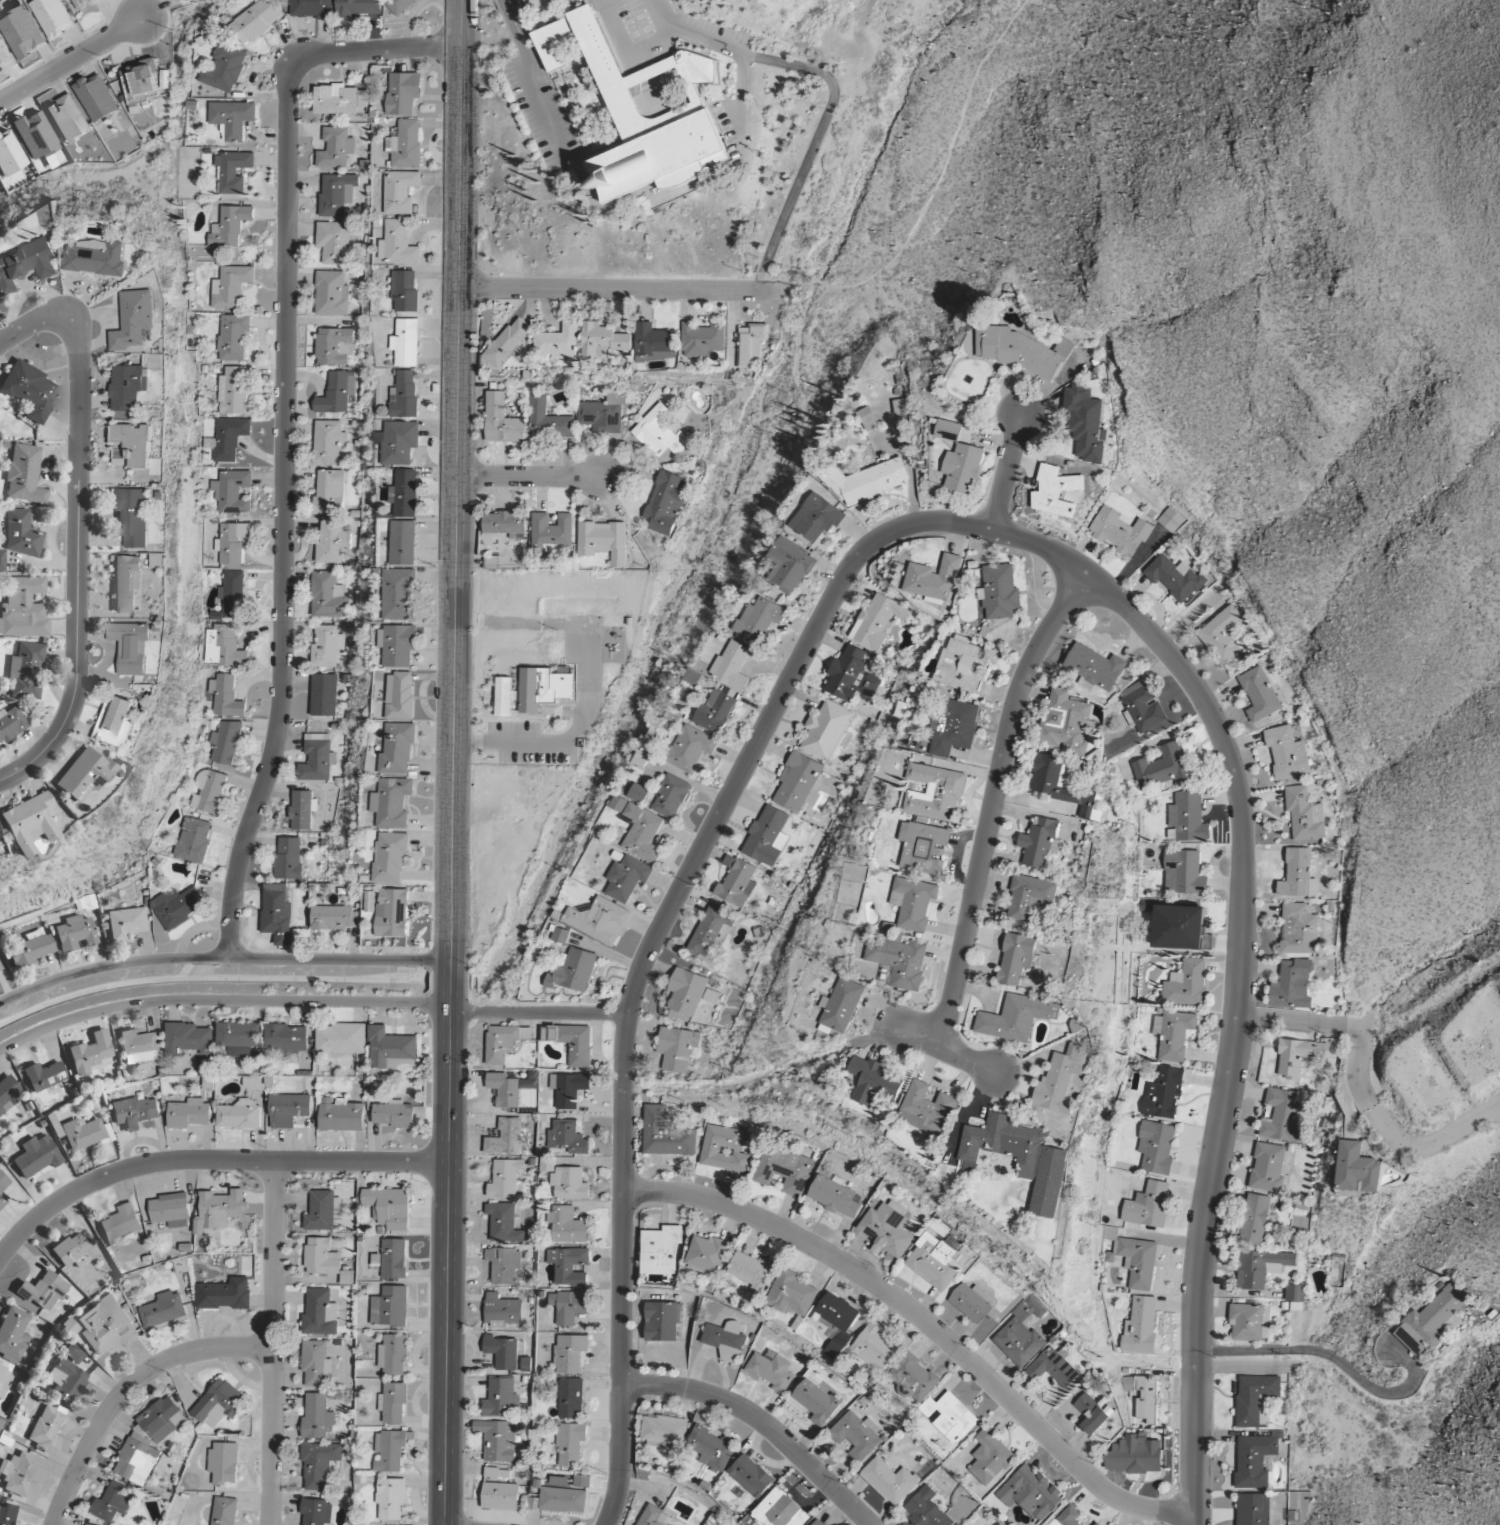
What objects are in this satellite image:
building: (187, 1)
road: (502, 2)
road: (503, 2)
building: (83, 3)
building: (400, 5)
building: (357, 8)
building: (312, 9)
building: (52, 17)
building: (256, 20)
building: (21, 33)
road: (732, 49)
building: (3, 51)
road: (625, 56)
road: (71, 60)
building: (225, 68)
building: (141, 82)
road: (531, 84)
building: (404, 93)
building: (96, 98)
building: (341, 100)
building: (623, 106)
building: (232, 118)
building: (67, 119)
building: (36, 136)
road: (817, 141)
building: (406, 144)
building: (335, 148)
building: (10, 155)
road: (944, 157)
building: (233, 171)
building: (400, 191)
building: (337, 194)
building: (230, 226)
building: (335, 243)
building: (398, 244)
building: (94, 257)
building: (26, 263)
building: (230, 286)
road: (630, 290)
road: (818, 290)
building: (405, 291)
building: (332, 294)
building: (133, 319)
road: (30, 325)
building: (233, 337)
road: (2, 339)
building: (703, 339)
building: (654, 340)
building: (560, 342)
building: (603, 342)
building: (406, 343)
building: (510, 343)
building: (751, 344)
building: (335, 346)
building: (1021, 351)
building: (128, 386)
building: (29, 390)
building: (233, 391)
building: (337, 393)
building: (405, 394)
building: (603, 413)
building: (868, 418)
building: (502, 421)
building: (547, 421)
building: (1086, 424)
road: (283, 427)
building: (953, 431)
building: (660, 433)
building: (229, 438)
building: (328, 442)
building: (399, 442)
building: (133, 445)
building: (963, 468)
road: (1007, 472)
building: (24, 474)
road: (531, 477)
road: (439, 479)
building: (864, 481)
building: (231, 491)
building: (330, 492)
building: (1055, 492)
building: (406, 493)
building: (665, 504)
road: (468, 506)
building: (131, 516)
building: (817, 518)
building: (1170, 520)
building: (503, 523)
building: (551, 530)
building: (1119, 531)
building: (20, 534)
building: (603, 541)
building: (333, 542)
building: (405, 542)
building: (231, 543)
building: (1, 560)
road: (77, 562)
building: (789, 566)
building: (1175, 578)
building: (934, 580)
building: (126, 582)
building: (999, 593)
building: (399, 594)
building: (232, 595)
building: (328, 596)
building: (23, 608)
building: (760, 619)
building: (878, 621)
building: (1221, 634)
building: (397, 645)
building: (223, 646)
building: (326, 646)
building: (129, 647)
building: (962, 665)
building: (733, 666)
building: (1095, 666)
building: (26, 671)
building: (852, 677)
building: (543, 688)
building: (1259, 694)
building: (324, 695)
building: (400, 696)
building: (226, 697)
building: (503, 697)
building: (1143, 707)
building: (715, 712)
building: (115, 722)
building: (1064, 723)
building: (11, 724)
building: (953, 727)
building: (826, 730)
building: (226, 743)
building: (690, 748)
building: (398, 749)
building: (1287, 753)
building: (316, 759)
building: (641, 759)
road: (454, 762)
building: (1164, 767)
building: (84, 775)
building: (797, 782)
building: (1064, 786)
building: (208, 791)
building: (935, 792)
building: (639, 793)
building: (670, 797)
road: (994, 801)
building: (395, 803)
building: (303, 810)
building: (1304, 814)
building: (1186, 818)
building: (28, 823)
building: (639, 829)
building: (767, 837)
building: (194, 840)
building: (1040, 843)
building: (923, 847)
building: (393, 857)
building: (289, 858)
building: (1183, 873)
building: (1298, 875)
building: (627, 878)
building: (737, 882)
building: (1029, 898)
building: (913, 903)
building: (178, 906)
building: (394, 913)
building: (278, 914)
building: (335, 917)
building: (599, 920)
building: (127, 923)
building: (1179, 927)
building: (1299, 929)
building: (710, 933)
building: (75, 934)
building: (560, 935)
road: (649, 944)
building: (31, 950)
road: (222, 958)
building: (1016, 958)
building: (899, 960)
building: (0, 968)
building: (574, 971)
road: (1238, 972)
building: (1187, 984)
building: (1292, 985)
building: (687, 992)
building: (711, 996)
road: (221, 999)
building: (840, 1006)
road: (539, 1013)
building: (1016, 1018)
road: (1340, 1026)
building: (1173, 1035)
building: (239, 1038)
building: (287, 1038)
building: (342, 1038)
building: (188, 1039)
building: (572, 1042)
building: (502, 1043)
building: (139, 1047)
building: (390, 1048)
building: (677, 1048)
road: (946, 1048)
building: (91, 1054)
building: (1298, 1056)
building: (43, 1076)
building: (1059, 1080)
building: (876, 1082)
building: (258, 1083)
building: (568, 1088)
building: (504, 1089)
building: (7, 1093)
building: (1162, 1093)
building: (926, 1108)
building: (288, 1109)
building: (134, 1113)
building: (189, 1114)
building: (393, 1114)
building: (240, 1115)
building: (341, 1115)
building: (1283, 1117)
building: (85, 1133)
building: (666, 1134)
building: (568, 1137)
building: (506, 1138)
road: (1430, 1145)
building: (1156, 1146)
building: (723, 1149)
building: (36, 1156)
building: (1020, 1158)
road: (209, 1161)
building: (1268, 1167)
building: (1356, 1169)
building: (783, 1170)
building: (505, 1179)
building: (3, 1182)
building: (569, 1183)
building: (835, 1196)
building: (2, 1202)
building: (1148, 1205)
building: (389, 1207)
building: (171, 1210)
building: (220, 1210)
building: (323, 1211)
building: (1254, 1219)
building: (503, 1223)
building: (120, 1224)
building: (568, 1225)
building: (886, 1229)
road: (432, 1241)
building: (74, 1249)
building: (661, 1251)
building: (706, 1254)
building: (321, 1257)
building: (394, 1258)
building: (933, 1261)
building: (1138, 1261)
building: (568, 1263)
building: (504, 1264)
building: (1261, 1267)
road: (460, 1269)
building: (752, 1270)
building: (43, 1291)
building: (1295, 1293)
building: (225, 1294)
building: (792, 1294)
building: (972, 1303)
building: (569, 1306)
building: (390, 1307)
building: (163, 1310)
building: (320, 1313)
building: (1430, 1320)
building: (662, 1322)
building: (837, 1322)
building: (1248, 1322)
road: (927, 1323)
building: (1140, 1326)
building: (107, 1327)
building: (1021, 1333)
building: (13, 1334)
building: (725, 1340)
road: (273, 1343)
building: (875, 1347)
building: (502, 1352)
building: (73, 1353)
building: (394, 1354)
road: (1338, 1359)
building: (317, 1363)
road: (1247, 1366)
building: (1054, 1367)
building: (771, 1370)
building: (914, 1377)
building: (4, 1380)
building: (66, 1382)
road: (127, 1389)
building: (1143, 1397)
building: (571, 1398)
building: (501, 1399)
building: (1256, 1399)
building: (817, 1401)
building: (220, 1402)
building: (393, 1403)
building: (1091, 1414)
building: (317, 1416)
building: (950, 1417)
building: (161, 1419)
road: (760, 1422)
building: (46, 1427)
building: (664, 1432)
building: (857, 1435)
building: (498, 1440)
building: (570, 1443)
building: (710, 1447)
building: (390, 1450)
building: (1135, 1455)
building: (990, 1457)
building: (1254, 1460)
building: (137, 1462)
building: (224, 1463)
building: (319, 1464)
building: (18, 1473)
building: (751, 1476)
building: (890, 1481)
building: (1031, 1492)
building: (501, 1497)
building: (391, 1498)
building: (563, 1500)
building: (113, 1503)
building: (1298, 1505)
building: (927, 1509)
building: (781, 1510)
building: (1254, 1510)
building: (224, 1511)
building: (317, 1512)
building: (7, 1514)
building: (652, 1516)
building: (1067, 1517)
building: (818, 1523)
building: (87, 1524)
building: (1098, 1524)

